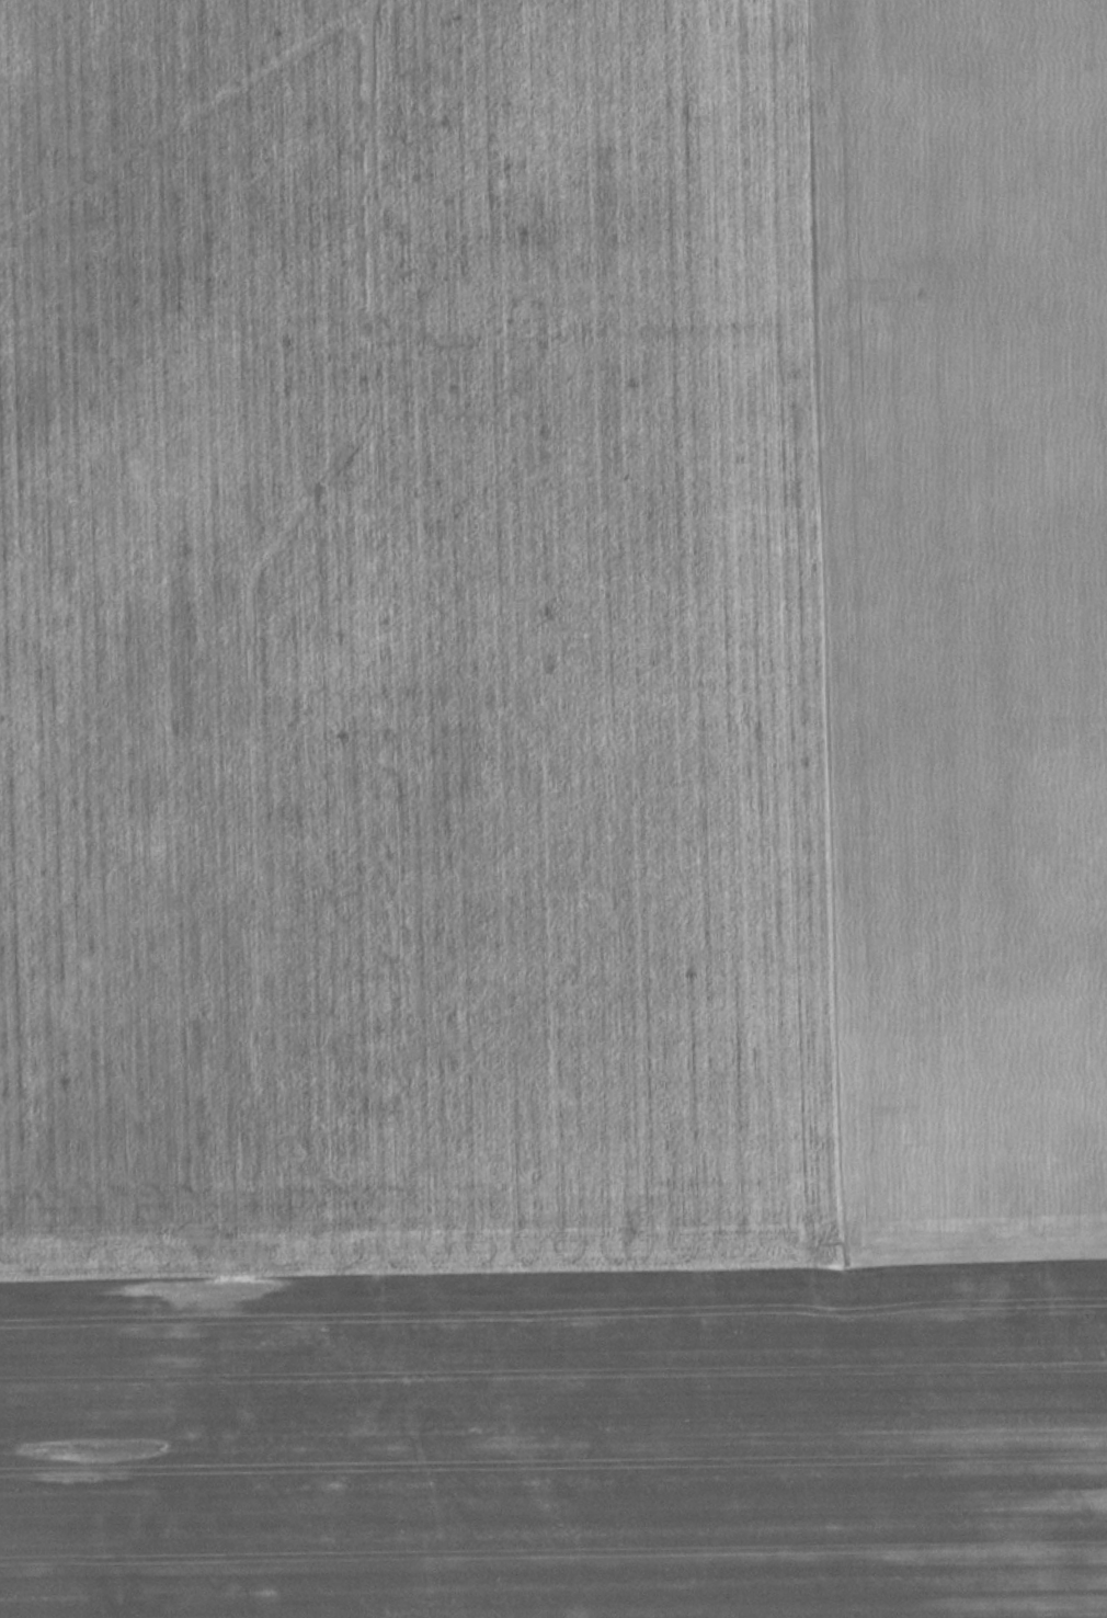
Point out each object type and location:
crop: (975, 619)
crop: (421, 636)
crop: (559, 1442)

